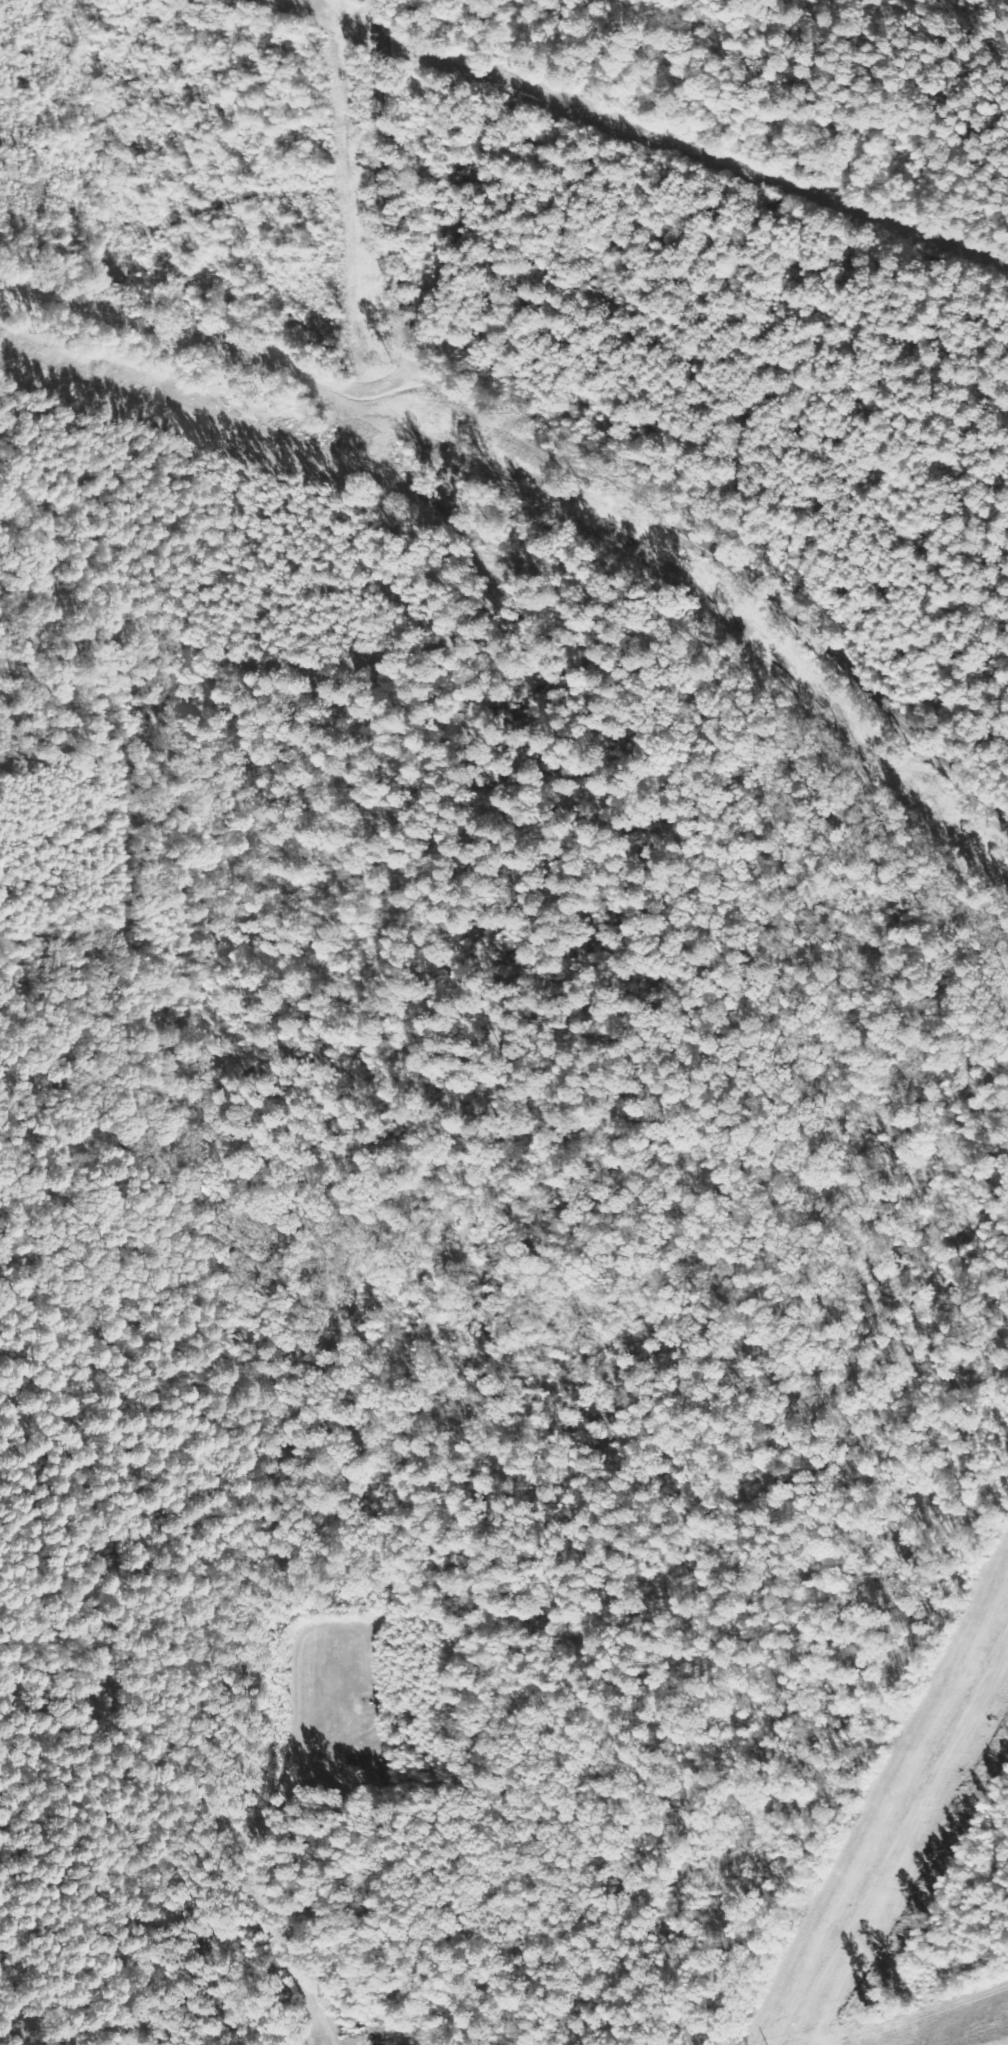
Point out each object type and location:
road: (222, 327)
road: (577, 461)
road: (163, 1680)

